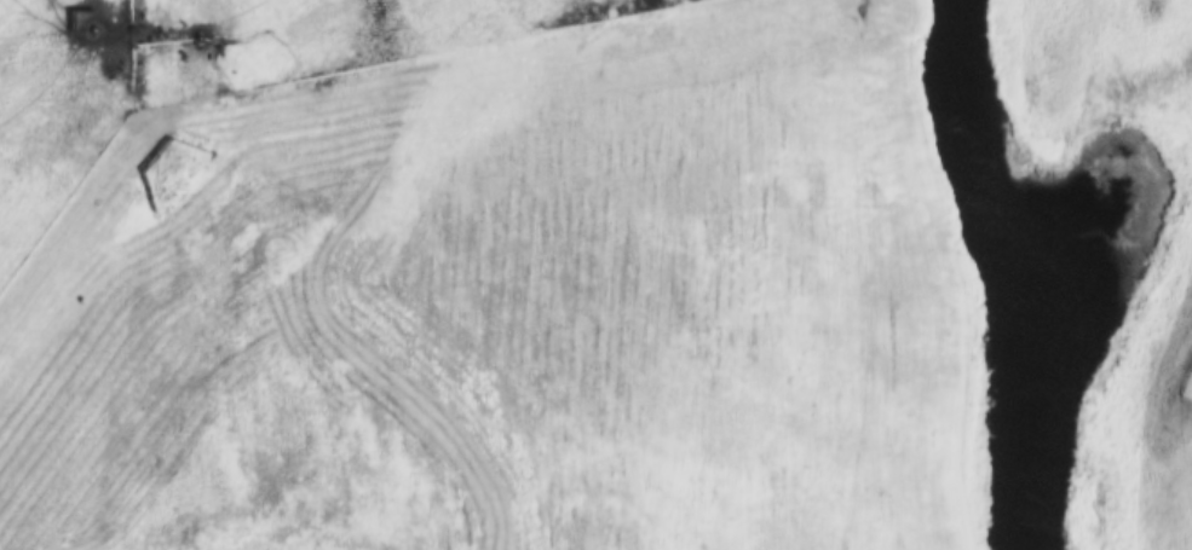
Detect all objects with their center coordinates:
river: (1012, 273)

